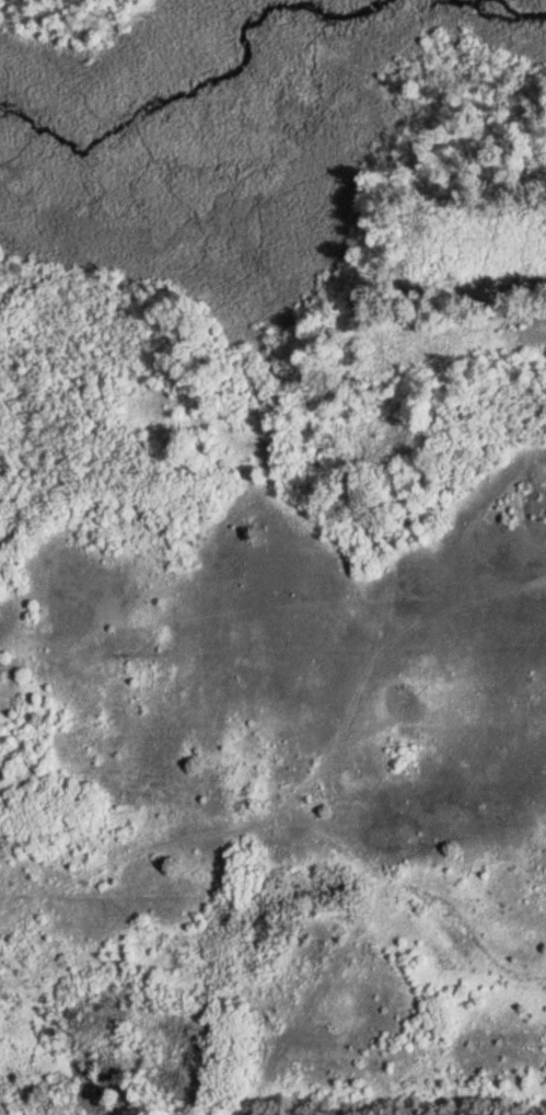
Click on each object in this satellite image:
road: (254, 846)

